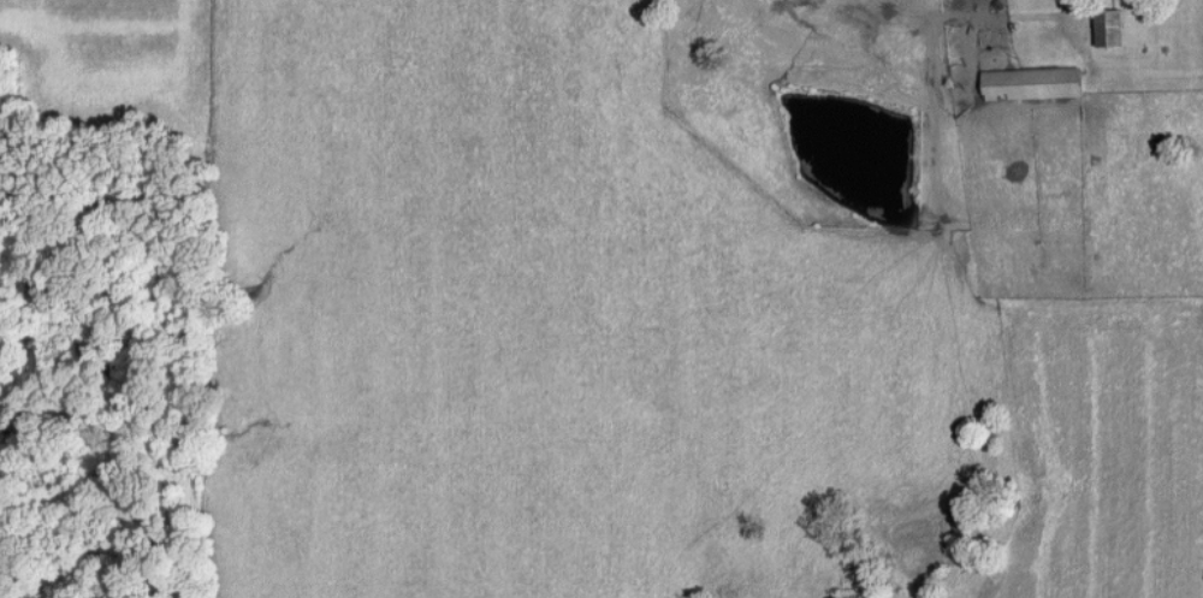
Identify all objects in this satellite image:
building: (1108, 28)
building: (1031, 83)

